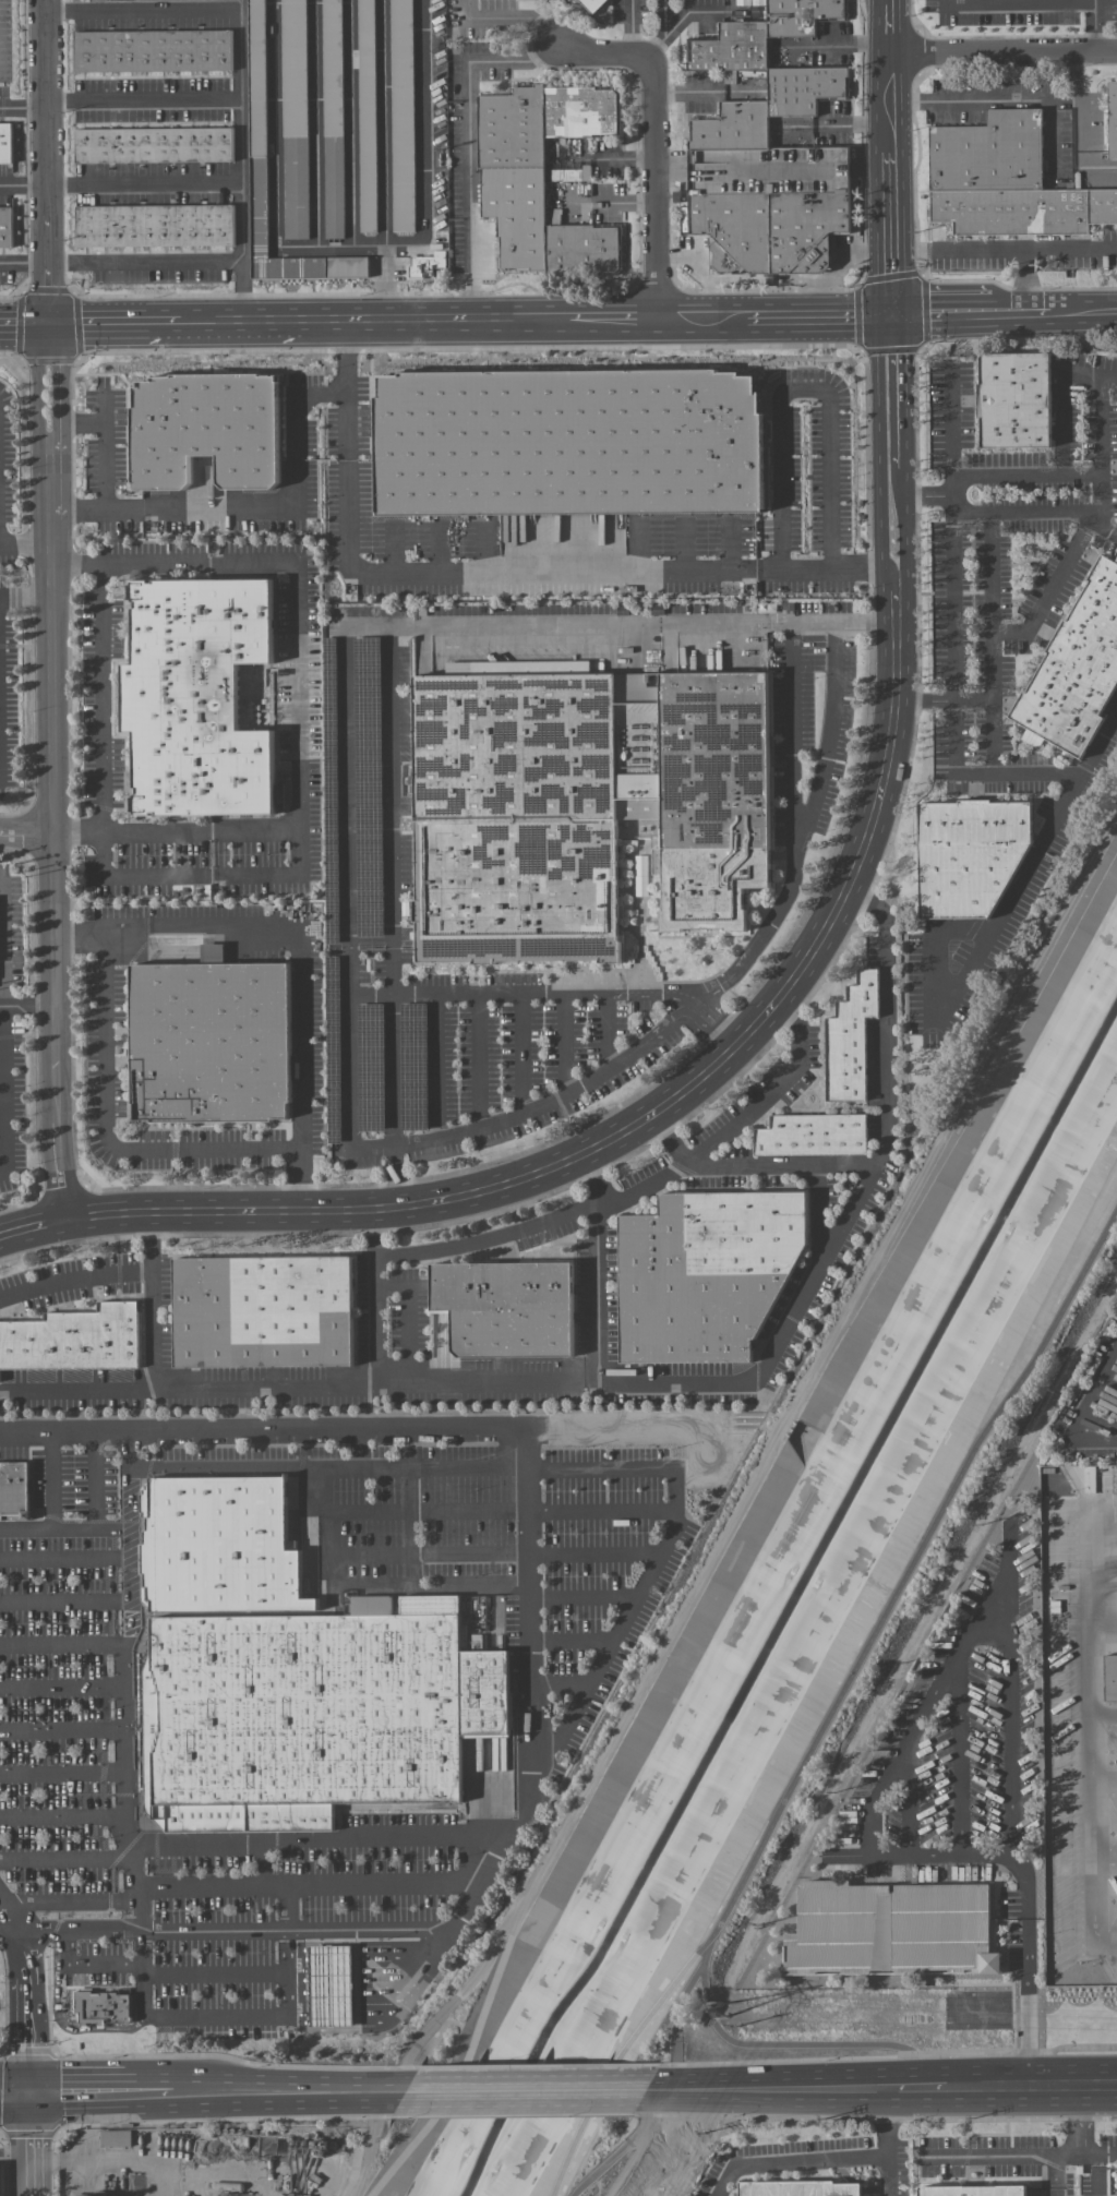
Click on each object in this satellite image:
road: (1093, 1)
building: (591, 2)
road: (1043, 2)
road: (523, 17)
road: (633, 28)
building: (760, 34)
building: (153, 50)
road: (1002, 52)
road: (683, 94)
road: (144, 97)
road: (1079, 100)
road: (984, 101)
road: (23, 108)
building: (367, 115)
building: (401, 115)
building: (295, 118)
building: (1112, 118)
building: (332, 119)
road: (383, 120)
road: (890, 124)
building: (257, 128)
road: (241, 134)
building: (4, 135)
road: (654, 135)
building: (154, 144)
road: (468, 147)
road: (628, 157)
road: (1094, 166)
road: (278, 175)
building: (540, 177)
building: (768, 180)
building: (1006, 180)
road: (145, 183)
road: (24, 185)
road: (48, 209)
building: (154, 224)
building: (5, 226)
road: (1042, 248)
road: (960, 249)
road: (24, 263)
building: (425, 264)
road: (385, 280)
road: (892, 281)
road: (244, 291)
traffic signals: (892, 312)
road: (941, 312)
road: (1021, 312)
road: (1083, 312)
road: (819, 313)
road: (704, 315)
road: (614, 316)
road: (375, 321)
road: (115, 324)
road: (24, 325)
traffic signals: (49, 325)
road: (345, 358)
road: (804, 391)
road: (323, 395)
building: (1013, 399)
road: (879, 403)
road: (902, 415)
road: (953, 425)
building: (206, 429)
road: (105, 436)
building: (568, 442)
road: (1064, 469)
road: (1082, 477)
road: (239, 506)
road: (96, 508)
road: (1023, 511)
road: (1094, 519)
road: (1106, 525)
road: (950, 543)
road: (26, 544)
road: (882, 557)
road: (819, 568)
road: (905, 568)
road: (499, 572)
road: (992, 573)
road: (26, 598)
road: (367, 622)
road: (642, 623)
building: (1076, 665)
road: (949, 669)
building: (197, 695)
road: (100, 696)
road: (971, 697)
road: (994, 704)
road: (298, 736)
road: (792, 739)
road: (986, 773)
building: (710, 796)
building: (515, 817)
road: (55, 820)
road: (805, 826)
road: (201, 831)
road: (27, 838)
building: (970, 854)
building: (640, 875)
road: (101, 926)
road: (232, 926)
road: (1, 948)
building: (213, 952)
road: (974, 971)
road: (381, 991)
road: (653, 991)
road: (28, 1006)
road: (723, 1022)
road: (606, 1030)
building: (849, 1039)
building: (212, 1041)
road: (563, 1043)
road: (521, 1054)
road: (477, 1060)
road: (435, 1065)
road: (392, 1069)
road: (300, 1085)
road: (5, 1088)
road: (529, 1112)
road: (105, 1130)
building: (812, 1135)
road: (671, 1137)
road: (614, 1139)
road: (699, 1149)
road: (647, 1189)
road: (488, 1237)
road: (597, 1265)
building: (707, 1272)
road: (73, 1279)
building: (507, 1307)
building: (263, 1311)
building: (74, 1339)
road: (749, 1371)
road: (177, 1384)
road: (76, 1389)
road: (526, 1430)
road: (336, 1465)
road: (622, 1468)
road: (95, 1479)
road: (51, 1480)
building: (14, 1490)
road: (647, 1510)
road: (738, 1512)
road: (64, 1529)
building: (223, 1546)
road: (493, 1553)
road: (65, 1556)
road: (470, 1588)
road: (371, 1589)
road: (584, 1596)
road: (65, 1600)
building: (430, 1604)
building: (371, 1605)
river: (790, 1605)
road: (1103, 1630)
road: (572, 1637)
road: (63, 1644)
building: (1109, 1676)
road: (561, 1681)
road: (62, 1685)
parking lot: (301, 1687)
road: (927, 1699)
road: (836, 1709)
road: (1104, 1712)
building: (315, 1716)
road: (1091, 1723)
road: (125, 1725)
road: (63, 1729)
road: (63, 1772)
road: (1104, 1780)
road: (63, 1815)
road: (317, 1840)
road: (67, 1857)
road: (1105, 1862)
road: (263, 1863)
road: (309, 1884)
road: (68, 1903)
road: (287, 1908)
road: (14, 1913)
building: (891, 1928)
road: (239, 1930)
road: (14, 1932)
road: (329, 1945)
road: (393, 1945)
road: (298, 1946)
road: (391, 1956)
road: (331, 1957)
road: (298, 1958)
road: (88, 1963)
road: (1029, 1968)
road: (216, 1972)
road: (288, 1972)
road: (408, 1973)
road: (331, 1975)
road: (299, 1976)
building: (331, 1984)
gas station: (331, 1984)
road: (379, 1991)
road: (299, 1992)
road: (331, 1992)
road: (447, 2006)
building: (103, 2008)
road: (373, 2008)
road: (678, 2008)
power tower: (722, 2008)
road: (331, 2009)
road: (299, 2011)
road: (392, 2011)
road: (31, 2012)
road: (217, 2014)
road: (289, 2018)
road: (60, 2020)
road: (331, 2023)
road: (299, 2024)
road: (796, 2044)
road: (1008, 2050)
road: (1033, 2087)
road: (921, 2088)
road: (391, 2089)
road: (521, 2089)
road: (746, 2089)
road: (869, 2089)
road: (207, 2090)
road: (16, 2092)
road: (1078, 2139)
road: (33, 2144)
road: (373, 2144)
road: (621, 2148)
road: (16, 2150)
road: (997, 2156)
road: (828, 2161)
road: (147, 2165)
road: (1098, 2174)
road: (1054, 2175)
road: (888, 2177)
building: (1113, 2184)
building: (798, 2189)
building: (973, 2191)

